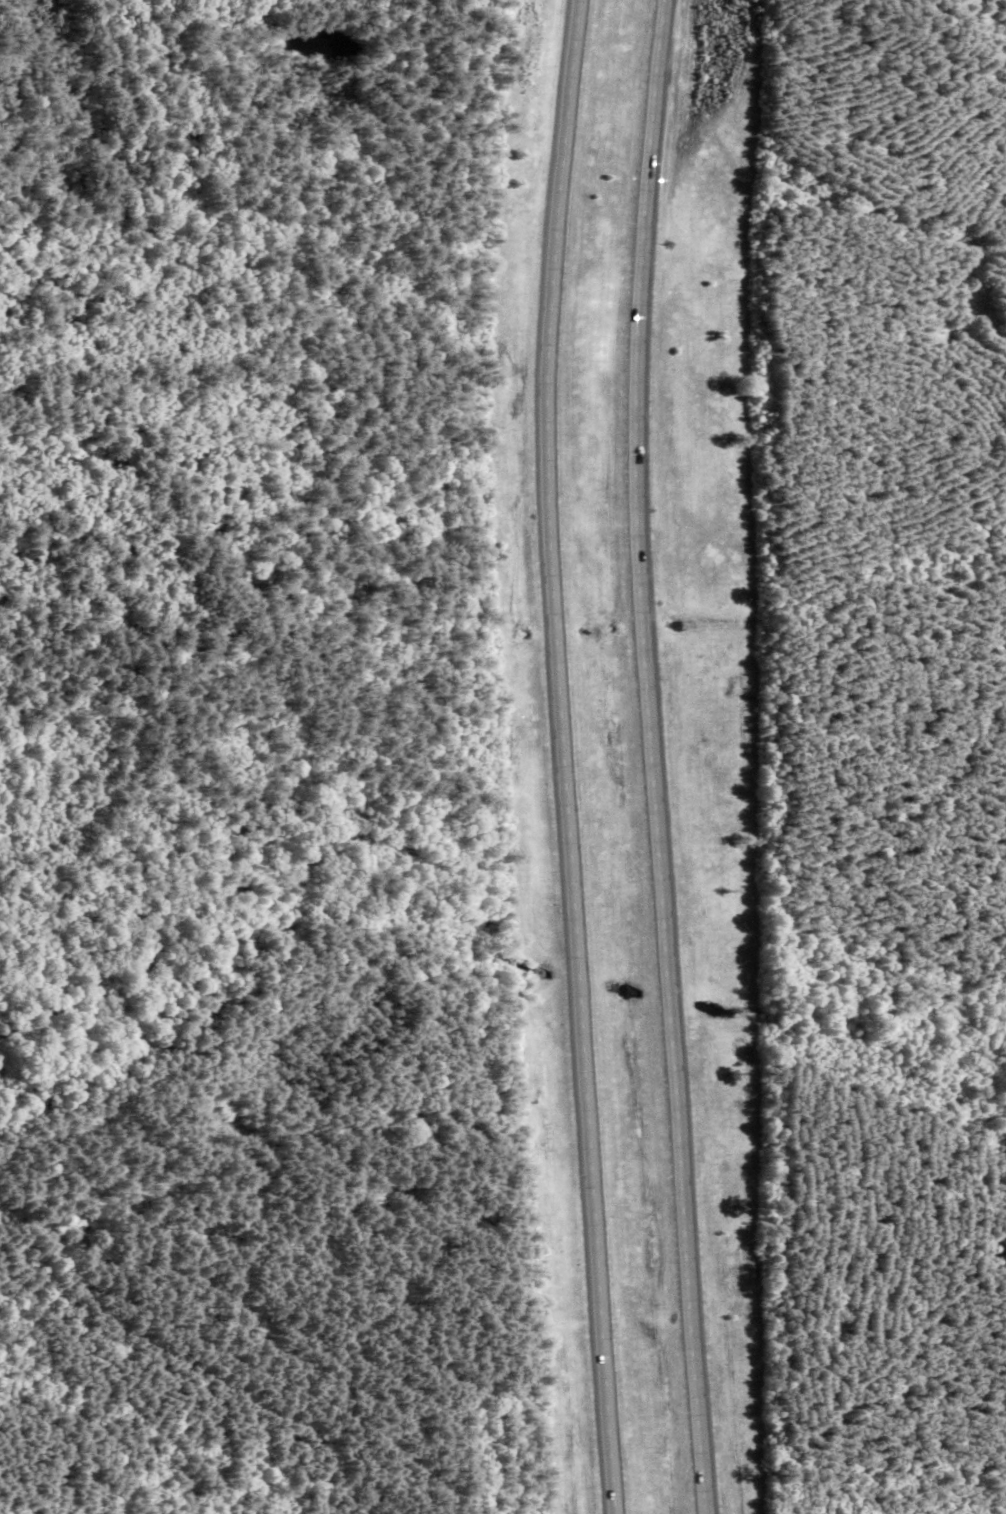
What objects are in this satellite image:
road: (566, 756)
road: (654, 756)

